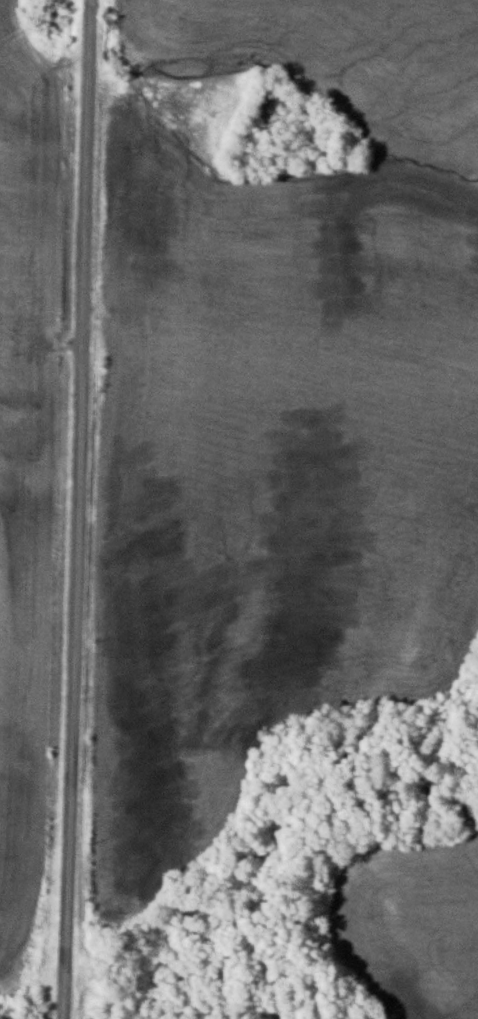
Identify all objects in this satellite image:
road: (92, 509)

